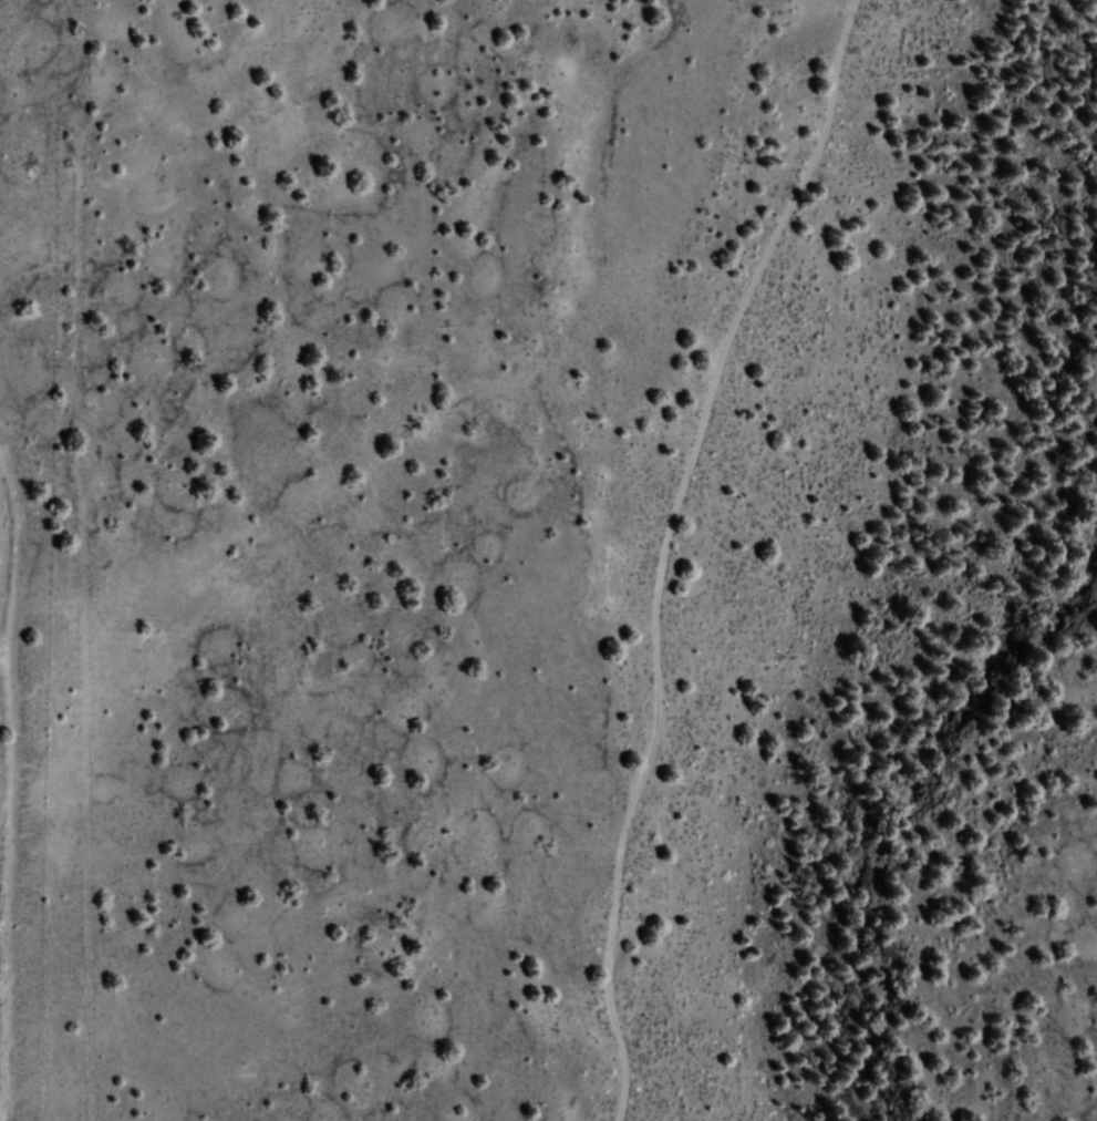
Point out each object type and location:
road: (665, 547)

